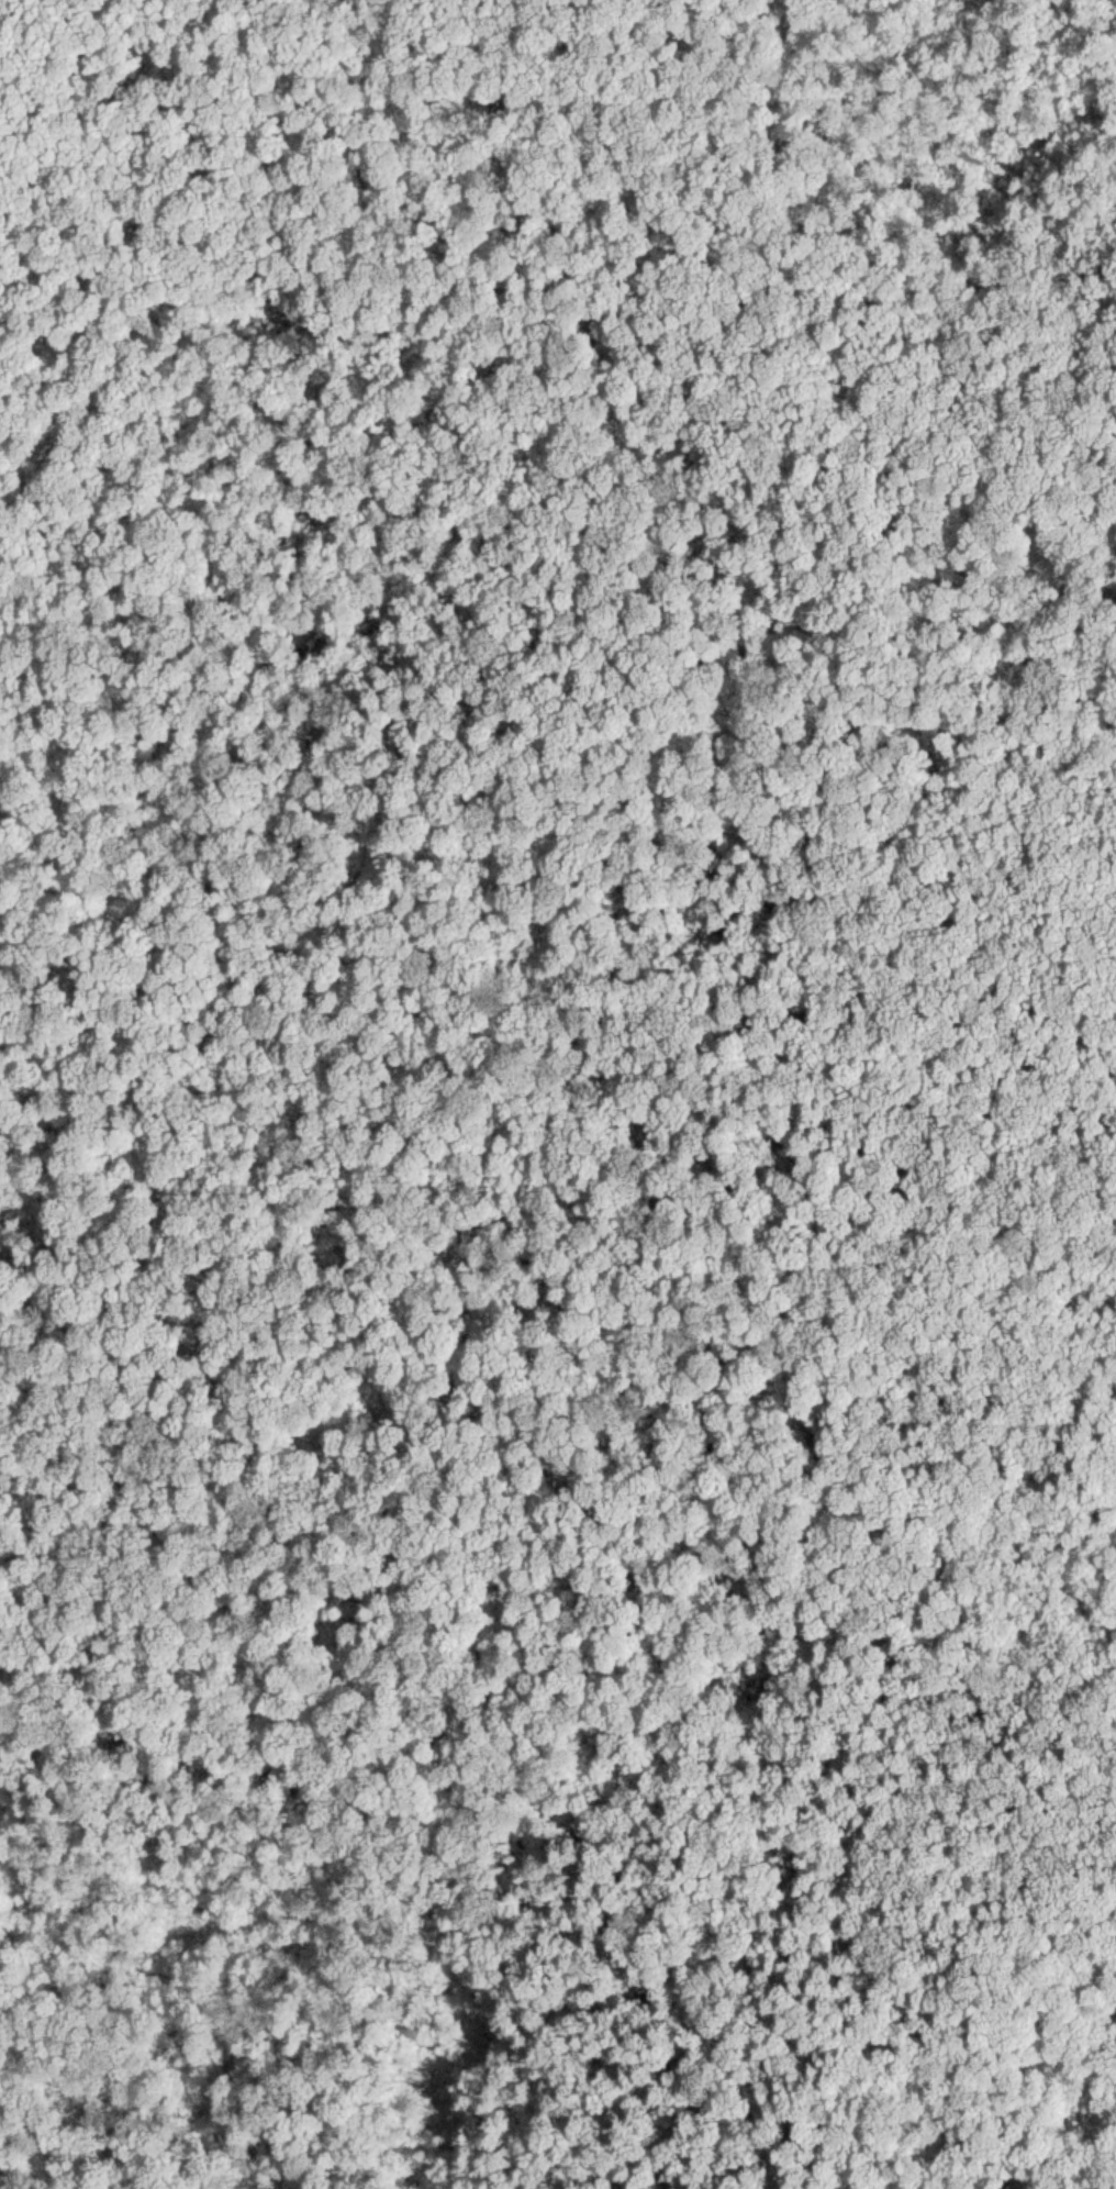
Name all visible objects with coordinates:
road: (555, 1279)

